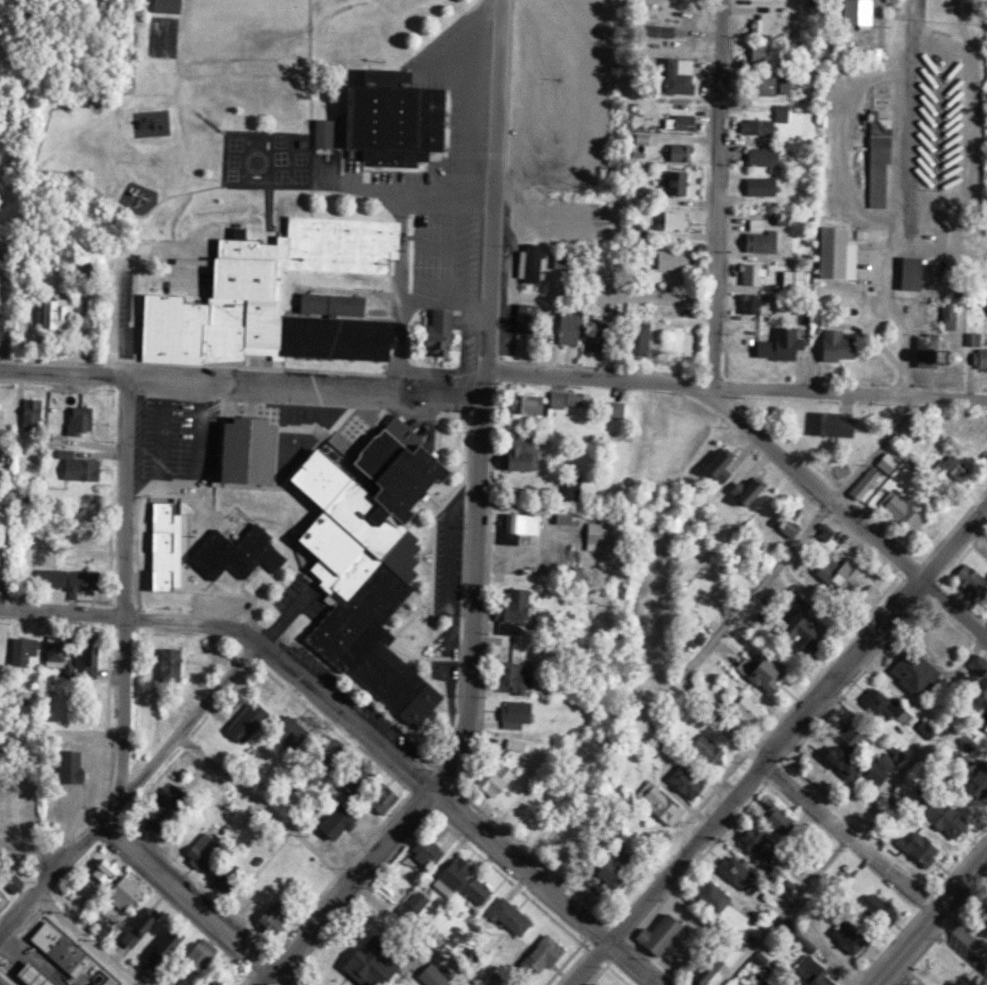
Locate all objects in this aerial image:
building: (163, 4)
building: (860, 14)
building: (762, 23)
park: (160, 36)
building: (770, 52)
building: (677, 74)
building: (765, 86)
building: (782, 113)
building: (391, 117)
building: (680, 124)
building: (758, 127)
building: (321, 132)
building: (880, 147)
building: (678, 152)
building: (766, 157)
building: (674, 181)
building: (762, 186)
road: (718, 194)
building: (669, 219)
building: (762, 245)
building: (838, 253)
building: (666, 258)
building: (529, 262)
building: (753, 273)
building: (912, 273)
building: (795, 281)
building: (274, 297)
building: (752, 304)
building: (55, 314)
building: (950, 314)
building: (523, 320)
building: (567, 326)
building: (435, 328)
building: (2, 329)
building: (597, 333)
building: (634, 337)
building: (969, 342)
building: (782, 344)
building: (838, 344)
building: (927, 350)
building: (981, 358)
road: (493, 381)
building: (563, 397)
building: (523, 402)
building: (611, 405)
building: (532, 408)
building: (31, 411)
building: (77, 419)
building: (830, 427)
building: (244, 447)
building: (516, 447)
building: (884, 459)
building: (949, 466)
building: (79, 467)
building: (721, 470)
building: (861, 479)
road: (813, 486)
building: (564, 488)
building: (749, 494)
building: (898, 510)
building: (564, 513)
building: (3, 516)
building: (513, 523)
road: (475, 527)
building: (786, 527)
building: (595, 533)
building: (161, 544)
building: (235, 549)
building: (1, 557)
building: (365, 560)
road: (124, 563)
building: (834, 571)
building: (64, 577)
building: (968, 579)
building: (511, 609)
road: (953, 609)
building: (798, 626)
building: (53, 648)
building: (19, 649)
building: (87, 657)
building: (975, 663)
building: (172, 667)
building: (761, 669)
building: (511, 672)
building: (906, 672)
building: (66, 673)
building: (875, 703)
road: (333, 705)
building: (744, 706)
building: (514, 709)
building: (244, 718)
building: (291, 727)
road: (60, 732)
road: (734, 739)
building: (857, 739)
building: (969, 739)
building: (511, 741)
road: (777, 743)
building: (328, 749)
building: (704, 749)
building: (837, 762)
building: (882, 762)
building: (66, 766)
building: (355, 775)
building: (873, 775)
building: (491, 776)
building: (682, 778)
building: (198, 780)
road: (118, 781)
building: (976, 781)
road: (128, 791)
building: (379, 796)
building: (167, 802)
building: (657, 802)
road: (264, 809)
building: (937, 815)
building: (333, 820)
building: (774, 821)
road: (852, 828)
building: (756, 845)
building: (200, 848)
building: (422, 851)
building: (915, 851)
road: (30, 856)
road: (874, 858)
building: (611, 862)
building: (102, 869)
building: (732, 873)
building: (448, 874)
building: (223, 875)
building: (474, 888)
building: (122, 891)
building: (708, 897)
building: (409, 902)
road: (194, 903)
building: (805, 908)
building: (875, 912)
building: (268, 916)
building: (507, 917)
building: (144, 918)
road: (929, 919)
building: (426, 930)
building: (658, 932)
road: (412, 933)
building: (844, 936)
road: (89, 939)
building: (165, 941)
building: (57, 947)
building: (539, 952)
building: (197, 953)
building: (372, 962)
road: (629, 964)
building: (807, 970)
building: (700, 972)
building: (433, 974)
building: (35, 976)
building: (204, 982)
building: (495, 984)
building: (592, 984)
building: (597, 984)
building: (909, 984)

